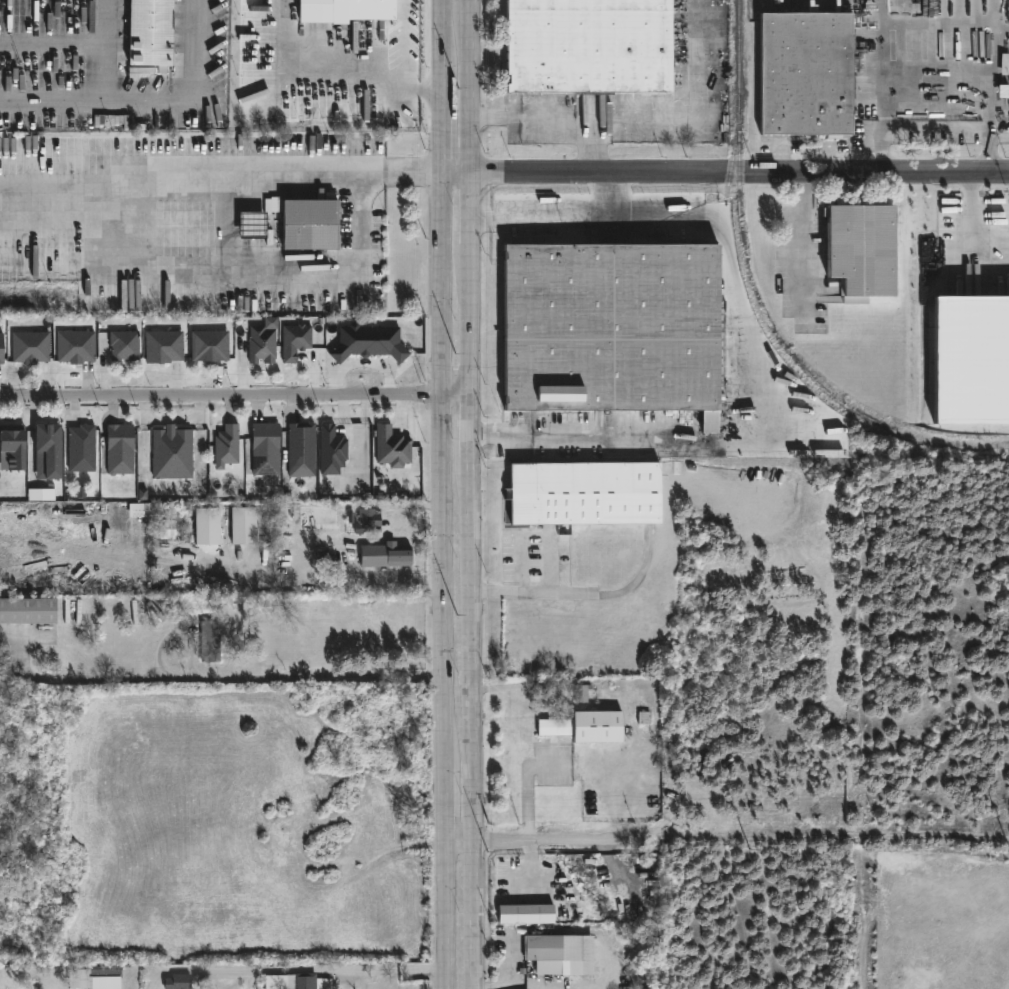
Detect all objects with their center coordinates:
railway: (753, 6)
building: (346, 10)
building: (150, 33)
road: (55, 44)
building: (591, 45)
road: (110, 49)
road: (195, 49)
road: (348, 67)
building: (808, 73)
road: (938, 78)
road: (442, 85)
road: (469, 85)
road: (97, 99)
road: (646, 125)
road: (593, 150)
railway: (731, 156)
road: (738, 170)
road: (455, 171)
road: (221, 172)
building: (273, 206)
road: (468, 206)
road: (562, 212)
building: (311, 224)
building: (253, 225)
road: (803, 239)
railway: (743, 243)
building: (865, 249)
road: (246, 275)
road: (470, 318)
building: (610, 327)
building: (295, 341)
building: (263, 343)
building: (368, 343)
building: (73, 346)
building: (125, 346)
building: (210, 346)
building: (30, 347)
building: (165, 347)
building: (1, 349)
building: (971, 360)
road: (235, 389)
road: (471, 427)
road: (587, 436)
building: (226, 447)
building: (392, 448)
building: (12, 449)
building: (82, 449)
building: (120, 449)
building: (265, 449)
building: (301, 450)
building: (332, 451)
building: (48, 453)
building: (172, 454)
building: (586, 493)
building: (40, 495)
building: (367, 520)
building: (243, 526)
building: (207, 527)
building: (564, 530)
building: (399, 559)
road: (442, 580)
road: (333, 584)
road: (541, 588)
road: (595, 593)
building: (28, 609)
building: (207, 642)
road: (236, 678)
building: (586, 694)
road: (473, 725)
building: (587, 728)
road: (640, 843)
road: (849, 843)
road: (935, 843)
road: (534, 870)
building: (525, 914)
building: (549, 931)
building: (540, 948)
road: (511, 967)
road: (384, 969)
building: (106, 977)
building: (177, 981)
building: (301, 981)

